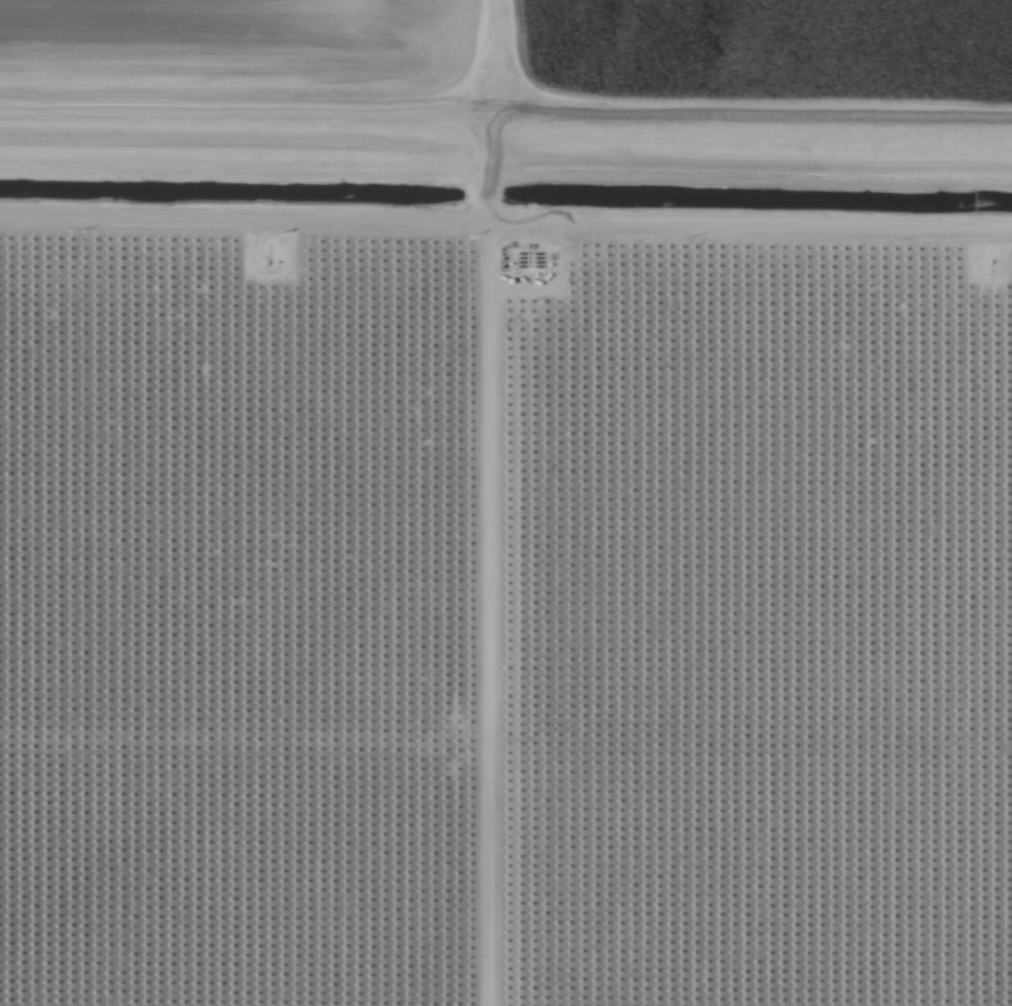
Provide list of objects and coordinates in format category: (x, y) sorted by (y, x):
road: (506, 109)
road: (506, 229)
crop: (490, 536)
road: (472, 617)

